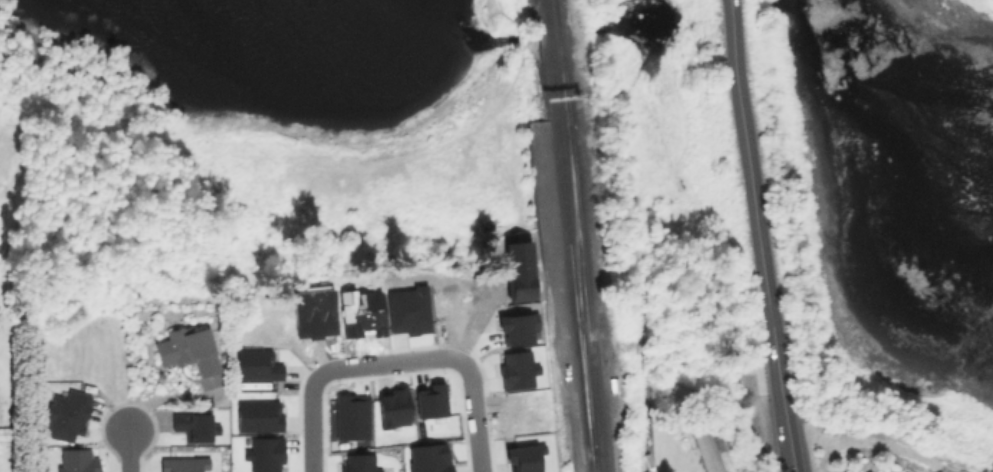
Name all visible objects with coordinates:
railway: (543, 3)
railway: (553, 3)
railway: (561, 64)
railway: (568, 227)
road: (757, 236)
building: (517, 271)
railway: (579, 287)
building: (451, 294)
railway: (585, 298)
building: (407, 310)
building: (359, 312)
building: (313, 313)
building: (516, 327)
building: (187, 349)
road: (389, 362)
building: (255, 365)
building: (515, 370)
railway: (615, 377)
building: (429, 400)
building: (392, 408)
building: (65, 416)
building: (257, 416)
building: (351, 416)
road: (473, 417)
building: (519, 418)
road: (310, 424)
building: (192, 426)
building: (6, 433)
building: (720, 436)
road: (877, 440)
building: (705, 449)
road: (127, 452)
building: (264, 454)
building: (428, 458)
building: (522, 458)
building: (76, 460)
railway: (593, 461)
building: (357, 463)
building: (183, 464)
building: (728, 471)
building: (868, 471)

